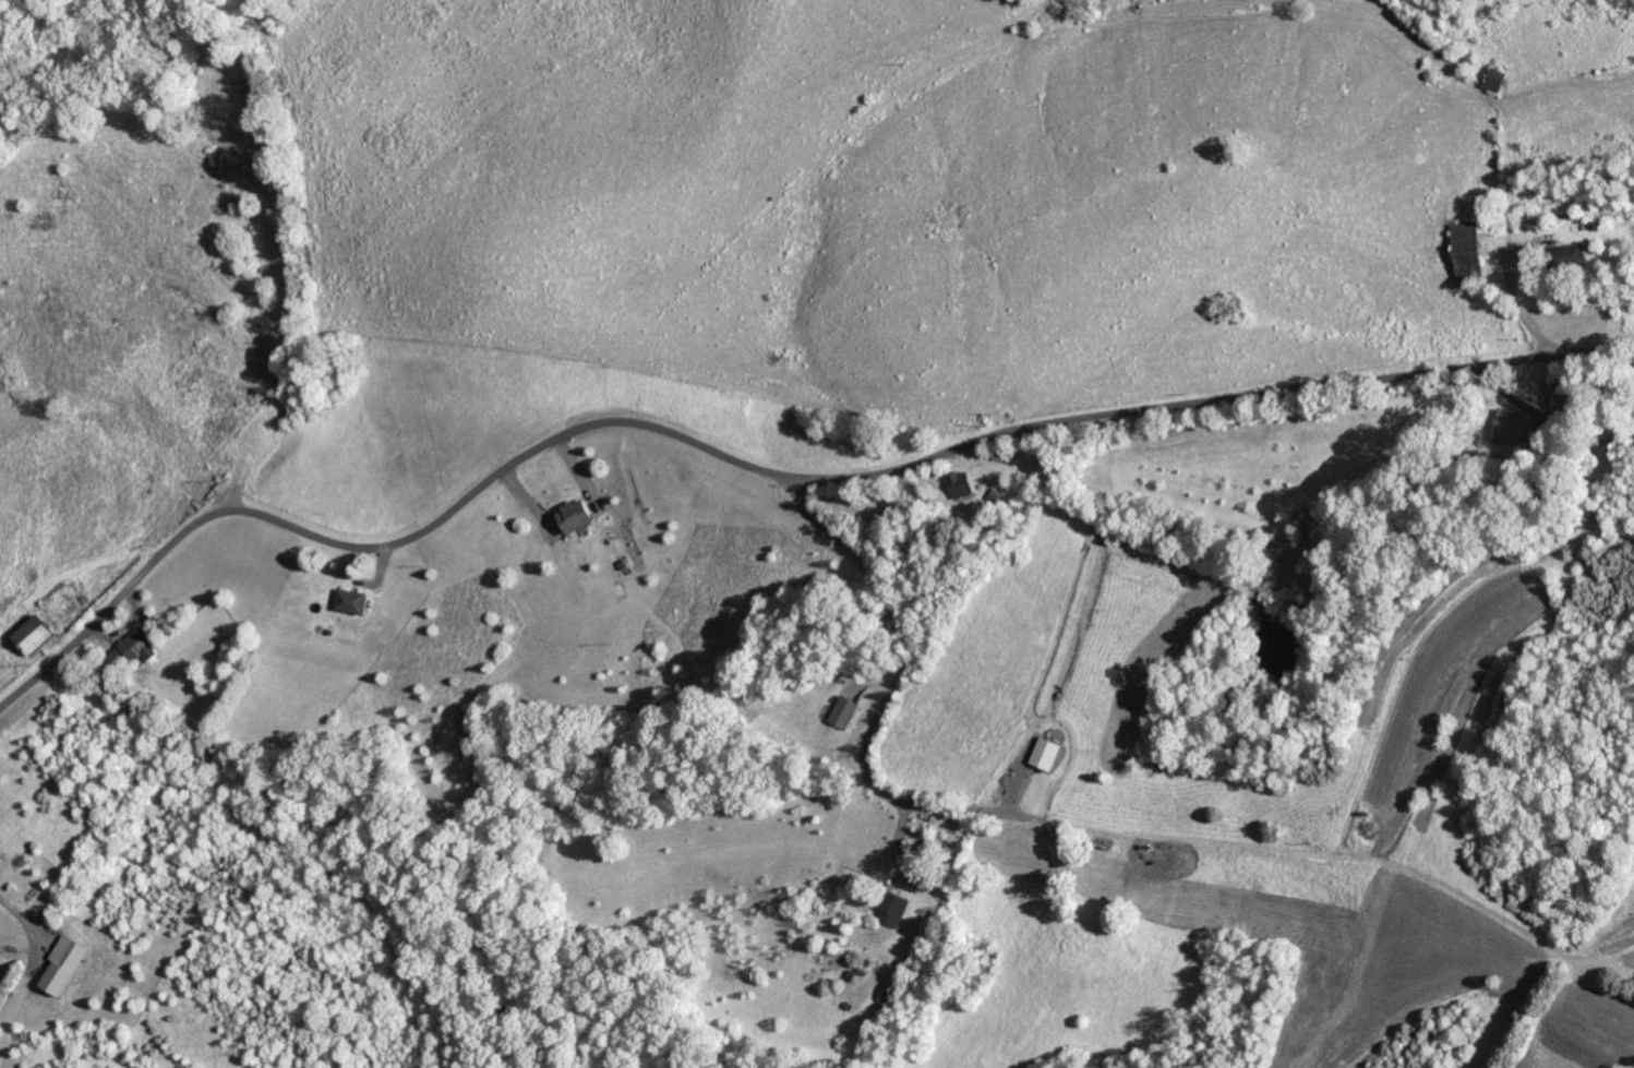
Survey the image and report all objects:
building: (1461, 247)
road: (761, 470)
building: (965, 484)
building: (578, 515)
building: (357, 601)
building: (41, 635)
building: (141, 647)
building: (844, 711)
building: (1049, 754)
building: (893, 909)
building: (69, 962)

